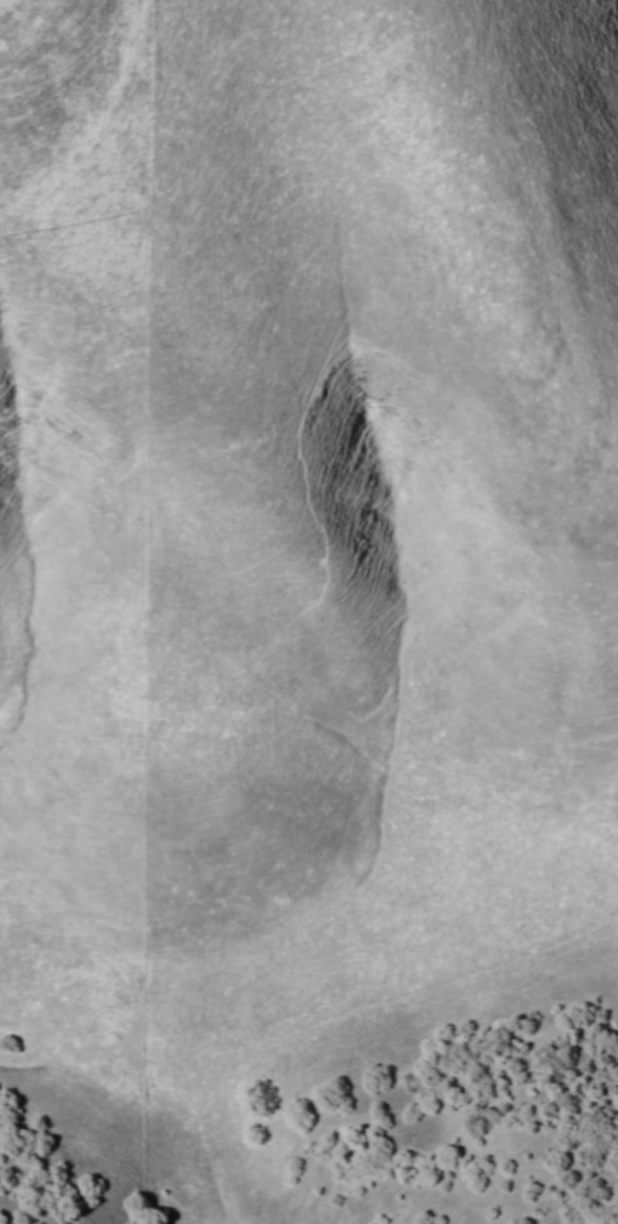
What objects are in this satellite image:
road: (78, 1054)

